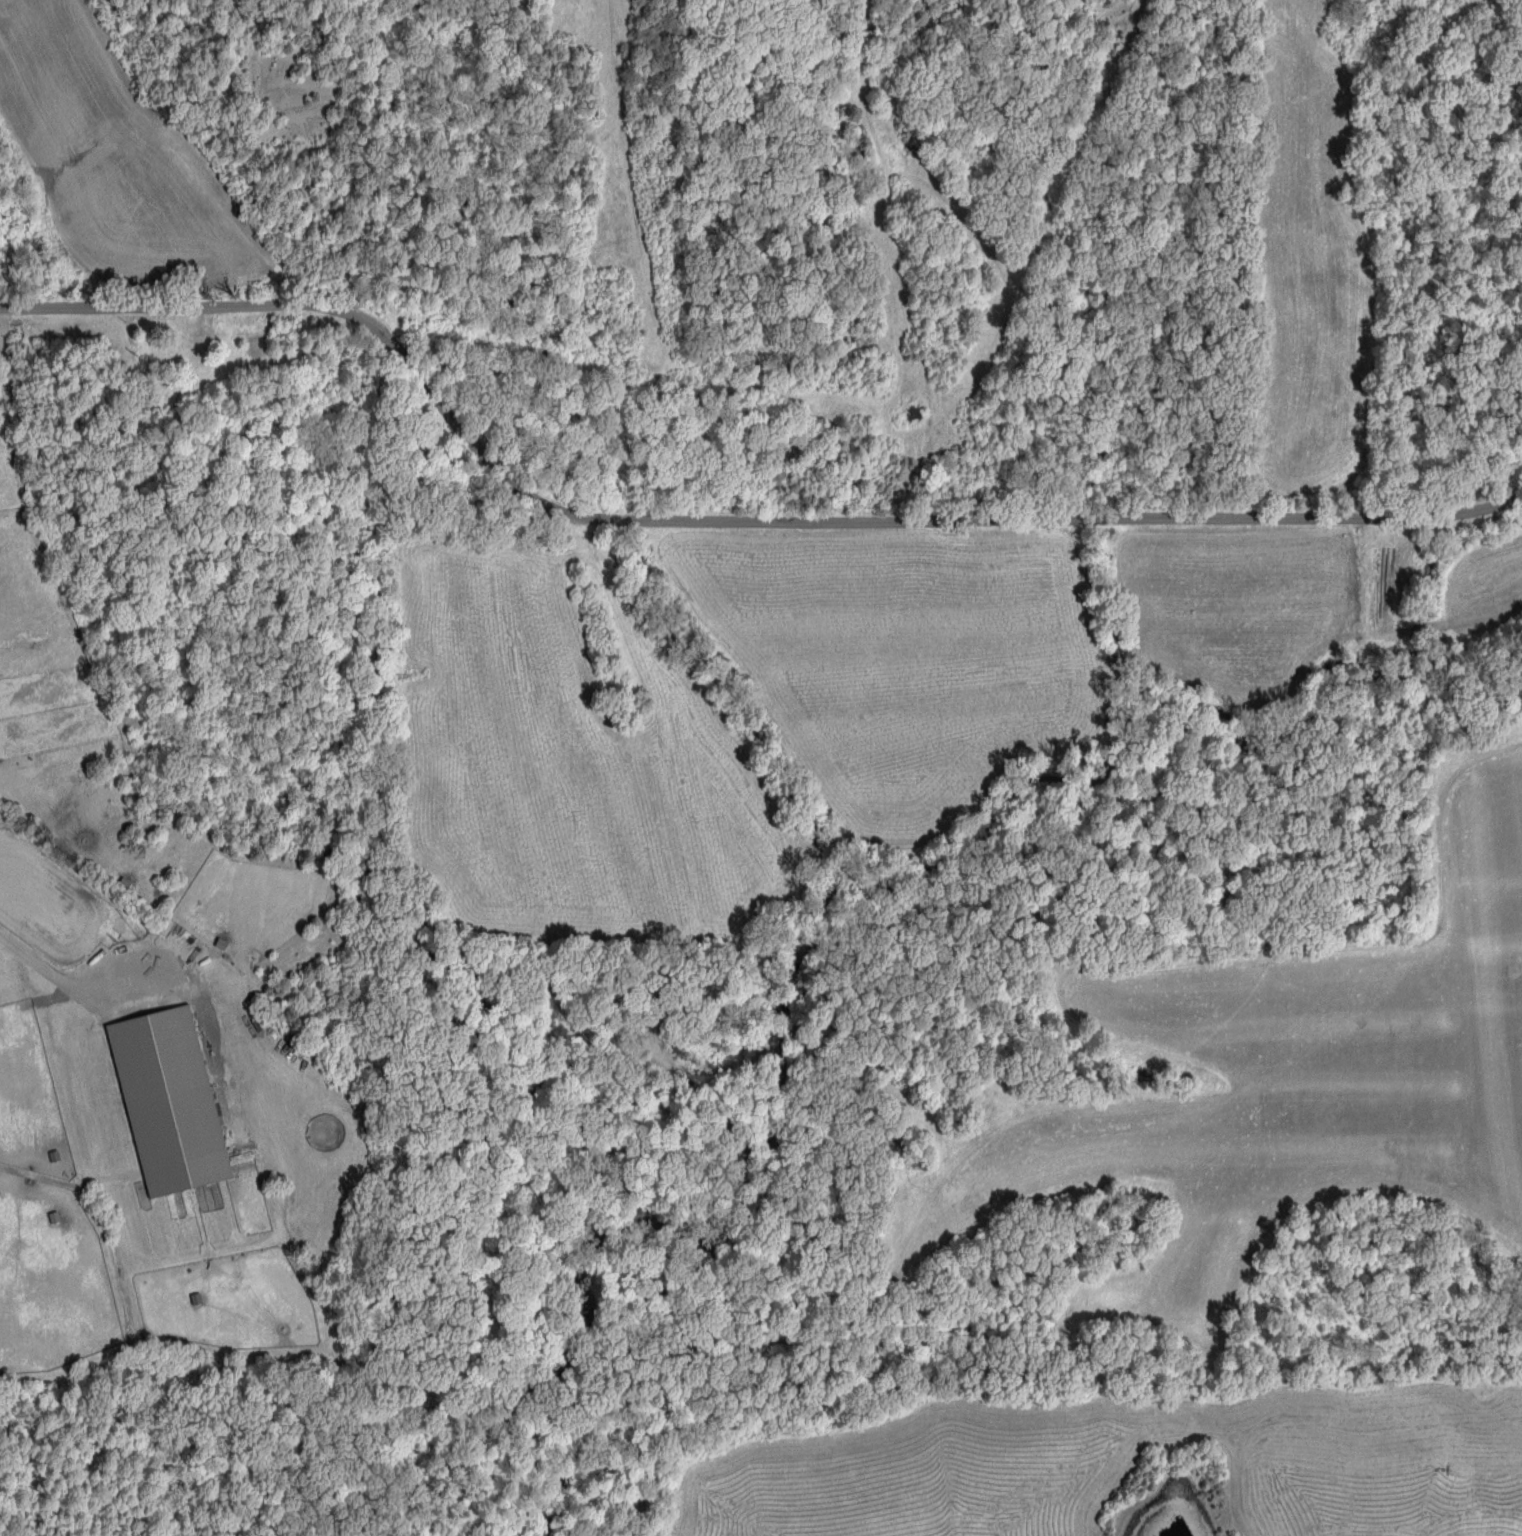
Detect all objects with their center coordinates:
road: (723, 516)
building: (166, 1102)

